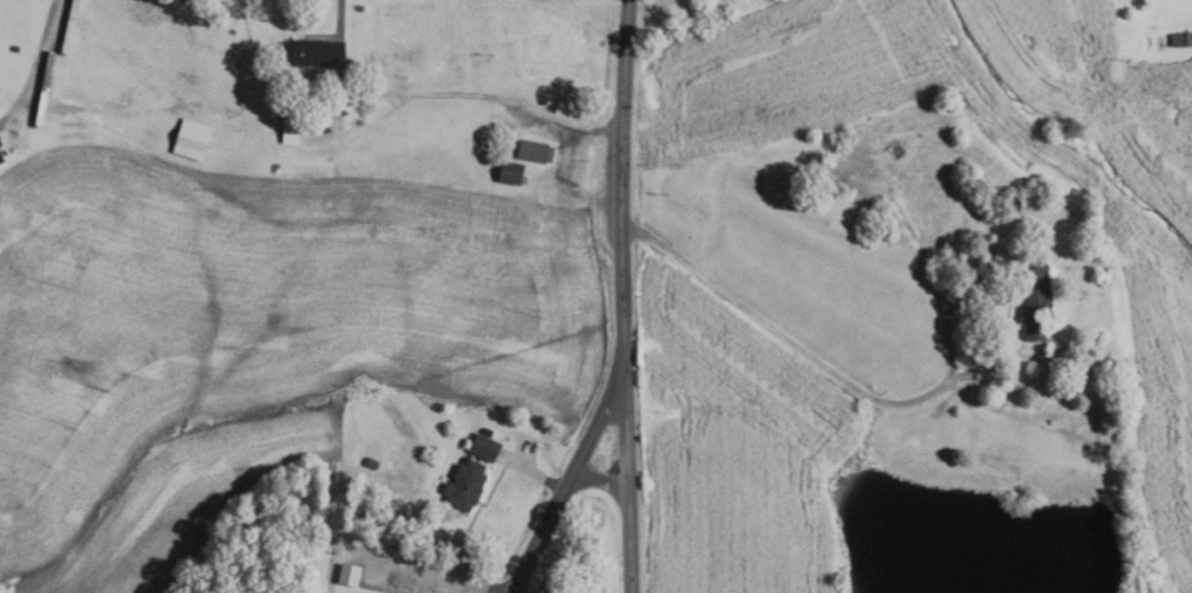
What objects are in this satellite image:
building: (1181, 40)
building: (309, 52)
road: (37, 66)
road: (442, 94)
building: (289, 129)
building: (190, 138)
building: (533, 150)
building: (858, 162)
building: (509, 172)
road: (619, 296)
building: (1034, 302)
road: (793, 343)
building: (483, 447)
road: (565, 479)
road: (596, 479)
building: (464, 484)
road: (424, 570)

